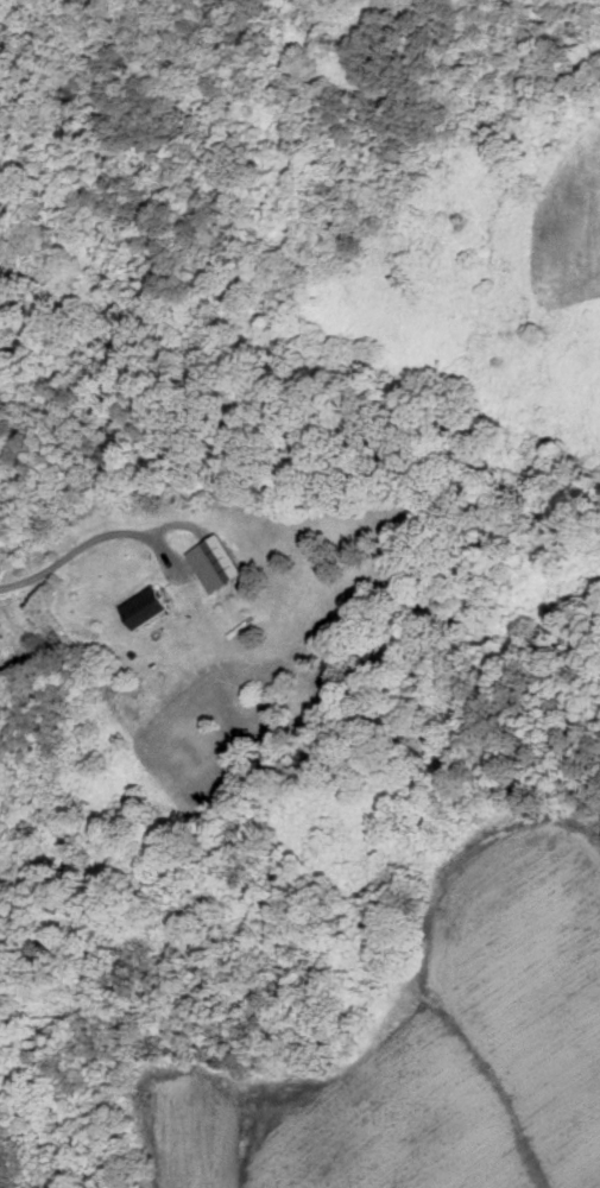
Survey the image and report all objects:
building: (220, 562)
road: (67, 567)
building: (154, 605)

